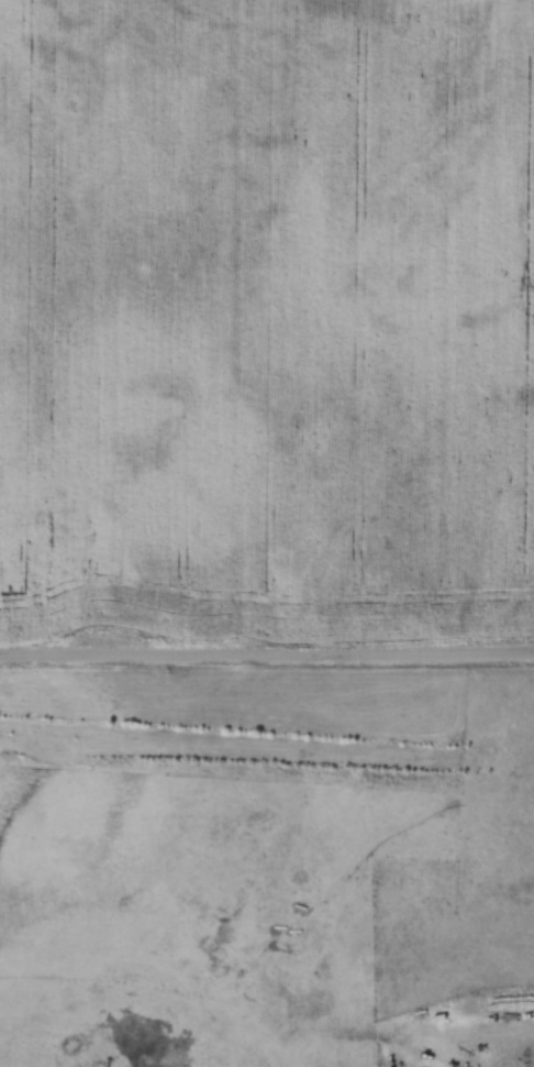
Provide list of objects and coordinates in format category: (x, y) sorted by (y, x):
road: (267, 656)

